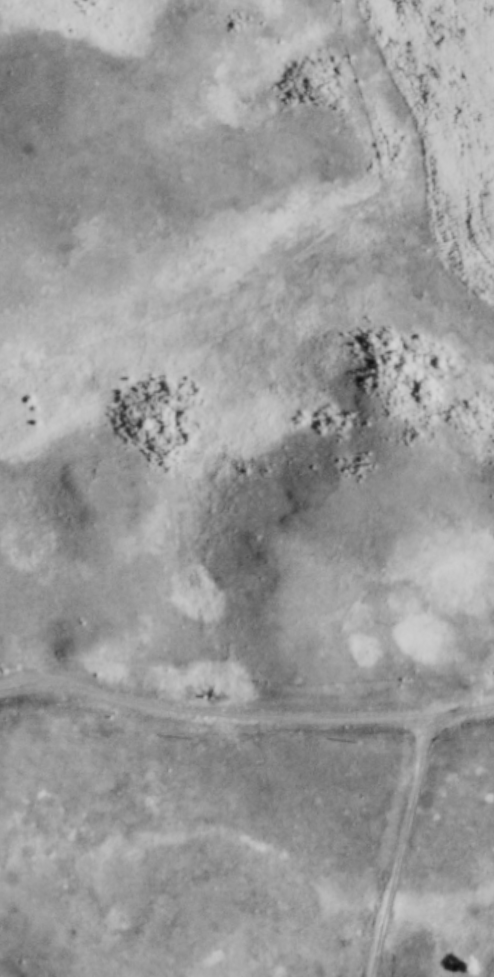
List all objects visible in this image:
road: (245, 706)

